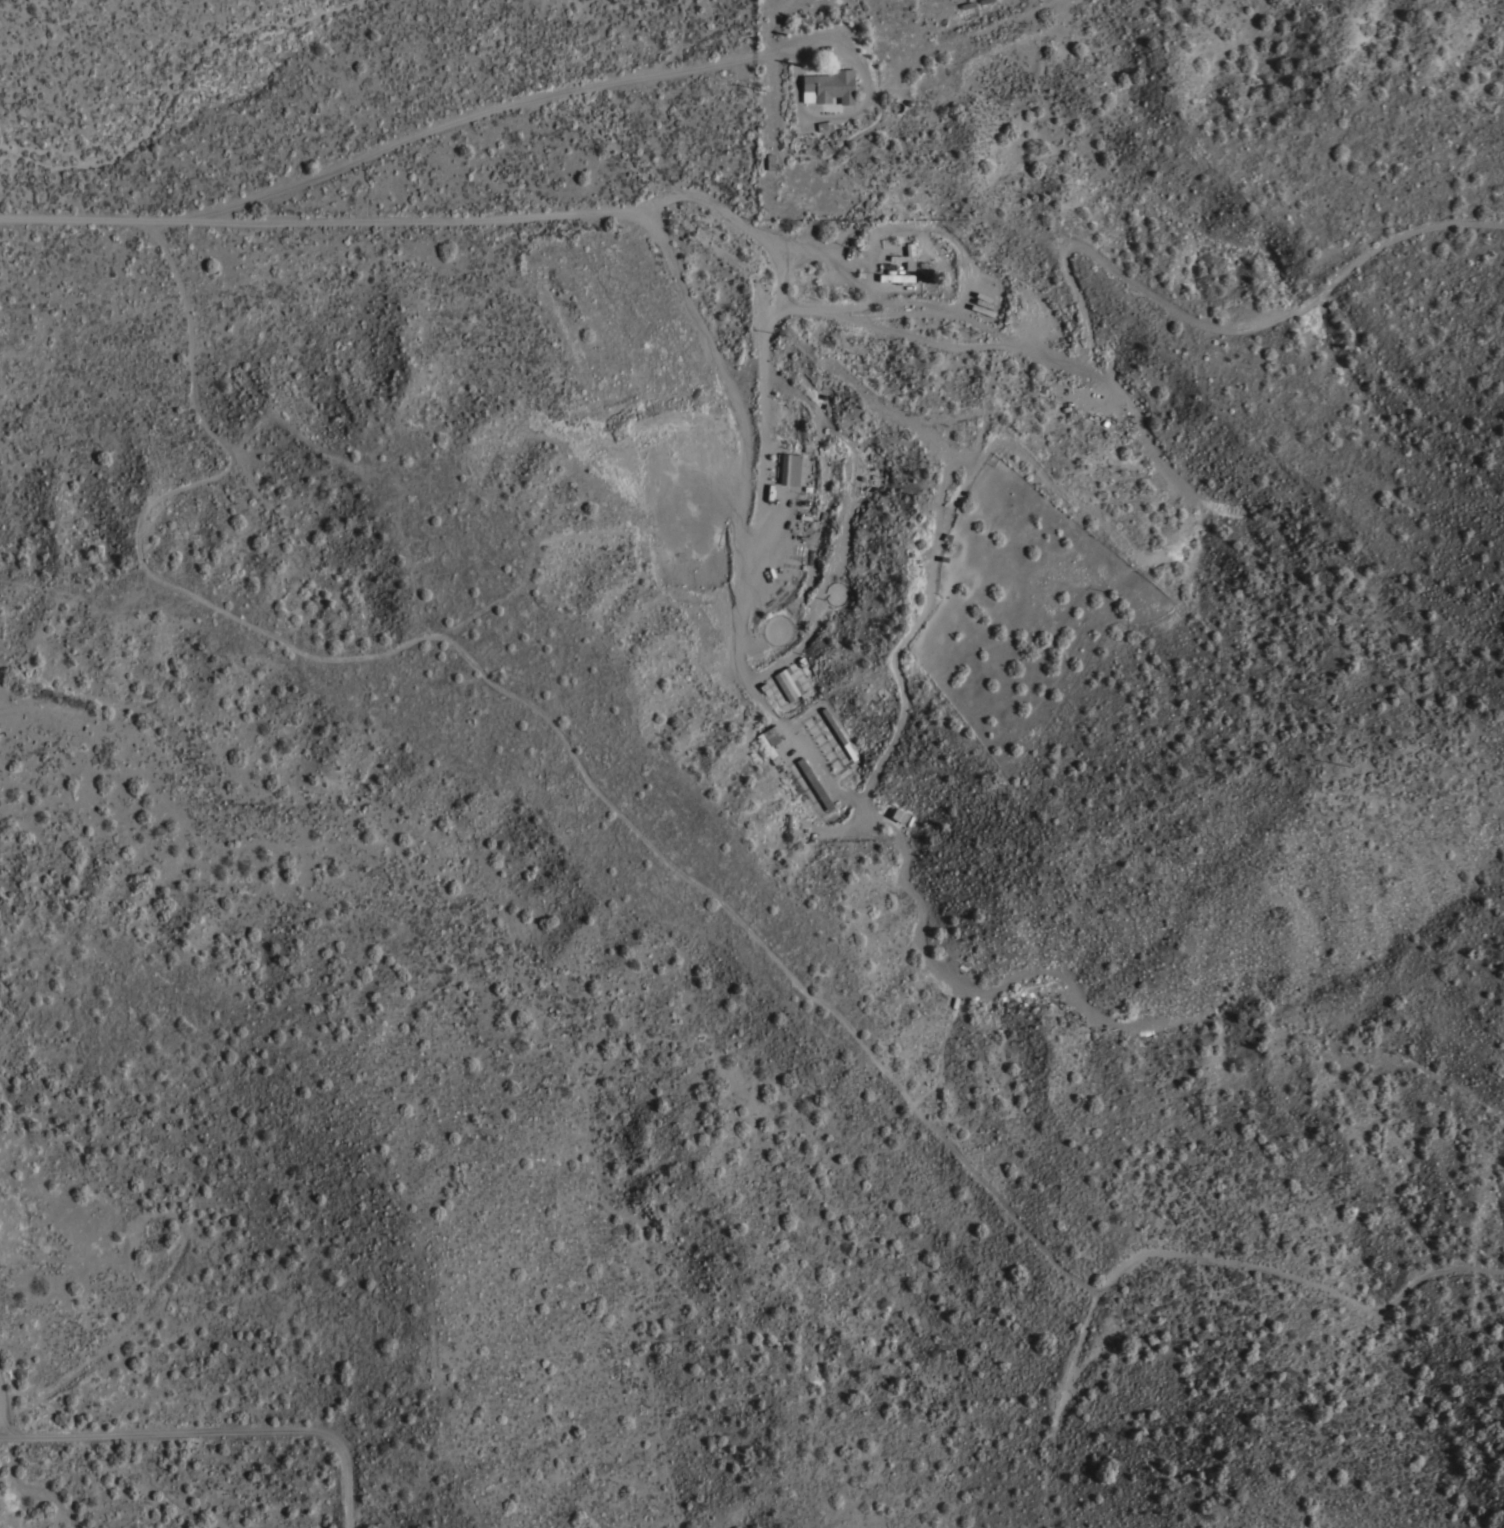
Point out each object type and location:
building: (828, 86)
road: (460, 120)
building: (824, 124)
building: (769, 160)
road: (723, 212)
road: (90, 218)
building: (892, 272)
road: (956, 298)
building: (790, 465)
building: (806, 502)
building: (788, 683)
building: (838, 734)
building: (770, 741)
building: (814, 783)
road: (3, 1406)
road: (215, 1432)

